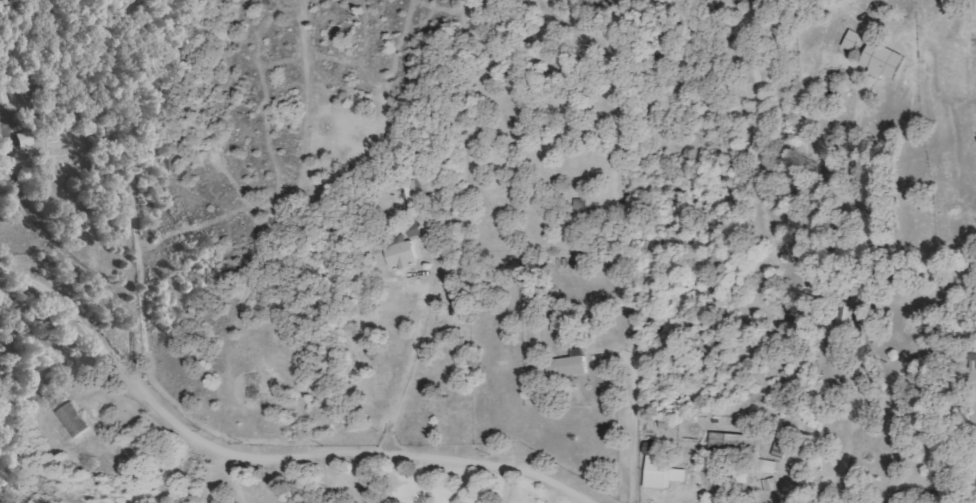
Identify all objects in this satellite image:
building: (884, 60)
building: (402, 251)
building: (569, 364)
building: (74, 419)
building: (734, 443)
building: (651, 448)
road: (267, 457)
building: (768, 466)
building: (664, 472)
road: (807, 488)

